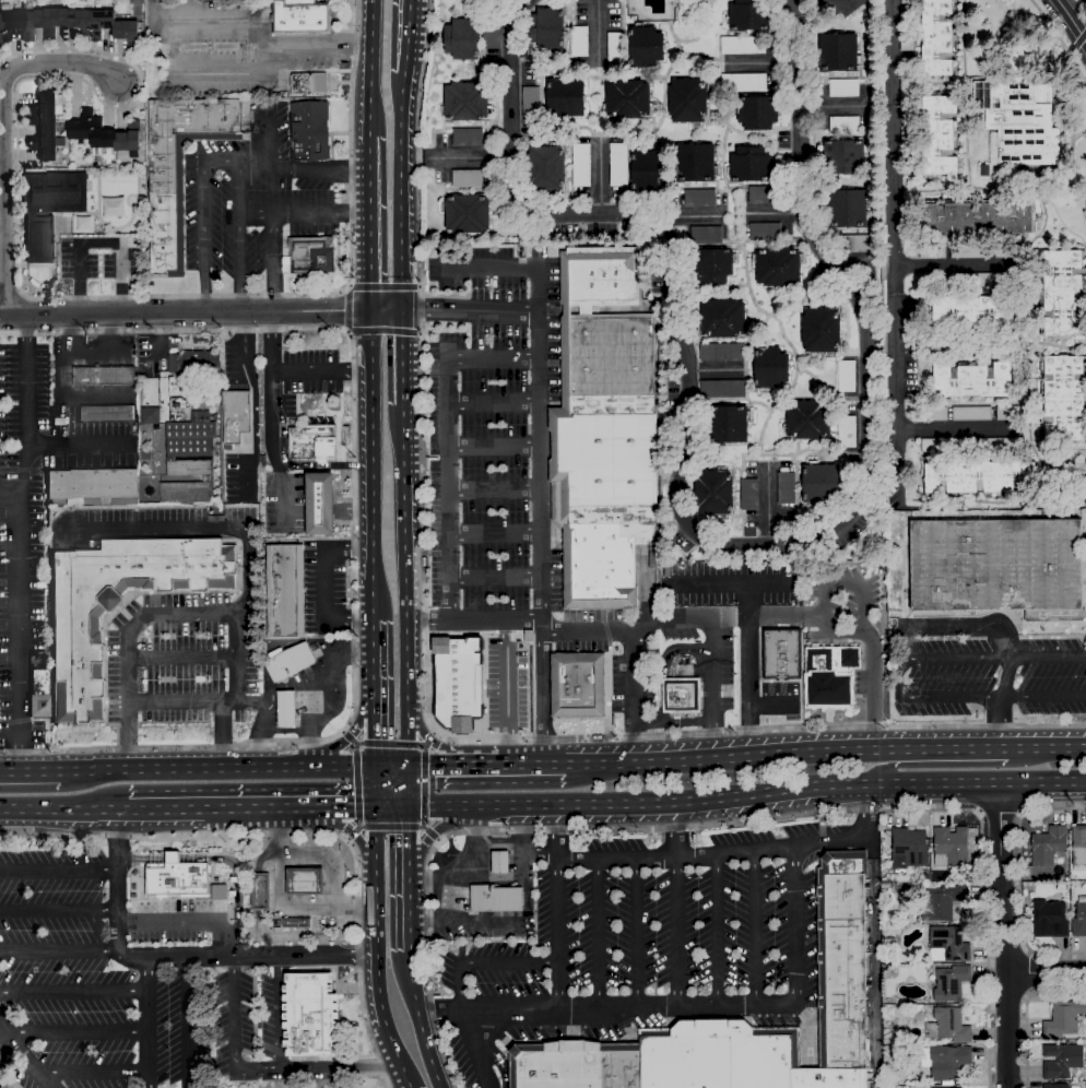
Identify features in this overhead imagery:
road: (1083, 4)
building: (843, 5)
building: (749, 16)
building: (299, 19)
road: (1069, 23)
building: (69, 24)
building: (548, 29)
building: (491, 32)
road: (598, 33)
building: (906, 36)
building: (463, 38)
building: (939, 38)
road: (411, 39)
road: (1058, 40)
building: (579, 42)
building: (743, 46)
road: (317, 47)
building: (645, 47)
building: (616, 48)
building: (837, 54)
road: (766, 62)
road: (370, 66)
building: (743, 83)
building: (308, 84)
building: (843, 88)
building: (907, 88)
building: (565, 97)
building: (627, 100)
building: (688, 100)
building: (465, 103)
building: (531, 103)
building: (757, 111)
road: (831, 111)
building: (1019, 113)
building: (44, 126)
building: (843, 126)
road: (4, 131)
building: (309, 131)
building: (104, 133)
building: (939, 135)
building: (467, 138)
road: (267, 139)
building: (907, 145)
building: (843, 156)
road: (457, 157)
road: (219, 159)
building: (695, 164)
building: (581, 165)
building: (618, 165)
building: (751, 166)
building: (179, 168)
road: (303, 168)
building: (546, 168)
building: (647, 170)
building: (467, 179)
road: (605, 181)
road: (401, 194)
building: (766, 194)
building: (699, 199)
building: (113, 208)
building: (48, 209)
building: (847, 210)
building: (467, 213)
road: (303, 215)
road: (690, 215)
road: (778, 217)
building: (978, 217)
road: (369, 222)
building: (765, 233)
building: (706, 236)
road: (99, 244)
building: (857, 245)
building: (932, 251)
building: (970, 251)
building: (1007, 251)
building: (310, 256)
road: (271, 263)
building: (713, 265)
building: (778, 267)
road: (954, 267)
road: (855, 271)
road: (893, 276)
building: (598, 279)
building: (931, 281)
building: (982, 281)
road: (383, 287)
building: (1062, 293)
road: (69, 298)
building: (607, 310)
road: (346, 311)
road: (469, 311)
road: (201, 312)
building: (970, 312)
building: (722, 320)
building: (822, 331)
road: (385, 334)
road: (270, 341)
building: (722, 352)
road: (403, 357)
building: (769, 368)
building: (189, 369)
road: (321, 371)
road: (711, 374)
building: (103, 377)
building: (846, 377)
building: (972, 380)
building: (722, 389)
building: (1063, 399)
road: (492, 404)
building: (1010, 413)
building: (107, 414)
building: (933, 414)
building: (971, 414)
building: (147, 415)
building: (235, 416)
building: (808, 421)
building: (730, 424)
parking lot: (484, 426)
building: (847, 433)
road: (371, 437)
building: (314, 444)
road: (78, 445)
building: (971, 445)
road: (447, 447)
road: (493, 447)
building: (188, 448)
building: (143, 454)
road: (272, 454)
building: (604, 457)
road: (285, 461)
road: (539, 471)
building: (979, 478)
building: (819, 484)
road: (8, 486)
building: (93, 487)
building: (786, 488)
road: (493, 490)
building: (186, 493)
building: (715, 493)
parking lot: (33, 495)
building: (749, 495)
building: (319, 504)
road: (319, 512)
road: (352, 512)
road: (767, 512)
parking lot: (158, 523)
road: (353, 531)
road: (247, 532)
road: (493, 534)
road: (16, 537)
road: (705, 542)
road: (404, 551)
building: (999, 567)
road: (493, 579)
road: (729, 583)
road: (321, 588)
building: (285, 591)
road: (373, 591)
road: (860, 598)
building: (117, 606)
road: (783, 618)
road: (472, 622)
road: (642, 623)
road: (954, 627)
road: (125, 643)
building: (781, 654)
road: (377, 659)
road: (179, 661)
building: (288, 662)
parking lot: (170, 663)
road: (747, 666)
road: (663, 667)
building: (829, 677)
road: (895, 678)
building: (457, 683)
building: (577, 686)
road: (711, 686)
road: (295, 688)
road: (507, 690)
road: (426, 694)
road: (631, 695)
building: (681, 696)
road: (1000, 700)
road: (179, 703)
road: (249, 703)
building: (35, 708)
building: (286, 710)
gas station: (286, 710)
road: (672, 723)
road: (306, 726)
road: (376, 730)
road: (408, 730)
road: (10, 731)
road: (219, 735)
road: (427, 738)
road: (1061, 743)
road: (1084, 743)
road: (337, 747)
road: (799, 747)
road: (531, 761)
road: (392, 762)
road: (438, 762)
road: (485, 762)
road: (326, 765)
road: (953, 765)
road: (166, 767)
road: (29, 771)
road: (1085, 784)
road: (376, 785)
road: (409, 785)
road: (783, 795)
road: (339, 809)
road: (392, 809)
road: (447, 809)
road: (209, 812)
road: (58, 813)
road: (1000, 813)
road: (718, 824)
road: (345, 830)
road: (438, 830)
road: (300, 833)
road: (375, 839)
road: (409, 840)
flagpole: (223, 842)
road: (498, 845)
building: (952, 845)
building: (910, 847)
building: (1048, 847)
road: (870, 848)
building: (1078, 848)
road: (736, 852)
road: (261, 856)
building: (192, 858)
road: (215, 859)
building: (499, 863)
road: (461, 864)
road: (58, 872)
building: (1036, 876)
building: (177, 879)
road: (1019, 879)
building: (305, 882)
road: (444, 883)
building: (901, 886)
gas station: (482, 888)
building: (217, 892)
road: (257, 892)
building: (260, 892)
gas station: (297, 892)
building: (495, 899)
building: (942, 903)
road: (674, 904)
road: (279, 906)
road: (556, 909)
road: (58, 911)
road: (408, 912)
building: (1050, 919)
building: (1079, 919)
road: (453, 921)
road: (186, 922)
building: (295, 923)
parking lot: (659, 923)
road: (754, 929)
road: (716, 930)
road: (636, 933)
road: (598, 934)
road: (1003, 936)
road: (304, 937)
building: (888, 943)
building: (948, 945)
road: (58, 950)
road: (176, 957)
road: (486, 968)
road: (872, 972)
road: (1046, 972)
road: (375, 980)
building: (951, 983)
road: (73, 991)
parking lot: (109, 994)
flagpole: (342, 995)
flagpole: (349, 995)
building: (887, 1002)
road: (683, 1006)
road: (1025, 1012)
road: (278, 1013)
building: (309, 1016)
building: (885, 1019)
building: (1063, 1019)
road: (418, 1021)
road: (147, 1022)
road: (187, 1022)
building: (740, 1022)
building: (947, 1026)
road: (76, 1032)
building: (895, 1032)
road: (474, 1050)
road: (16, 1056)
building: (1061, 1061)
road: (497, 1062)
building: (945, 1062)
road: (259, 1068)
road: (90, 1073)
building: (4, 1085)
building: (1057, 1086)
road: (406, 1087)

